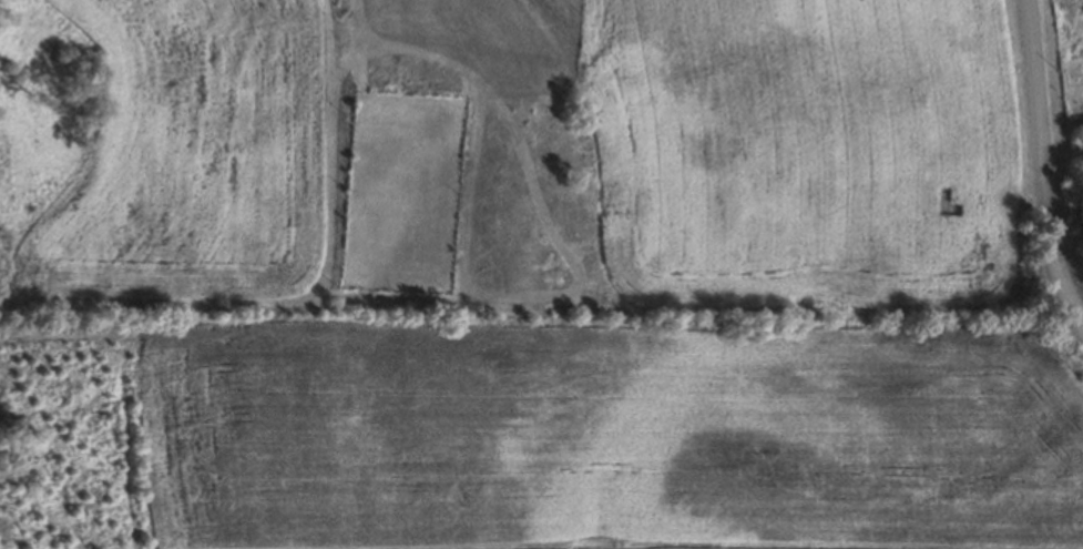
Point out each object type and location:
road: (1045, 165)

